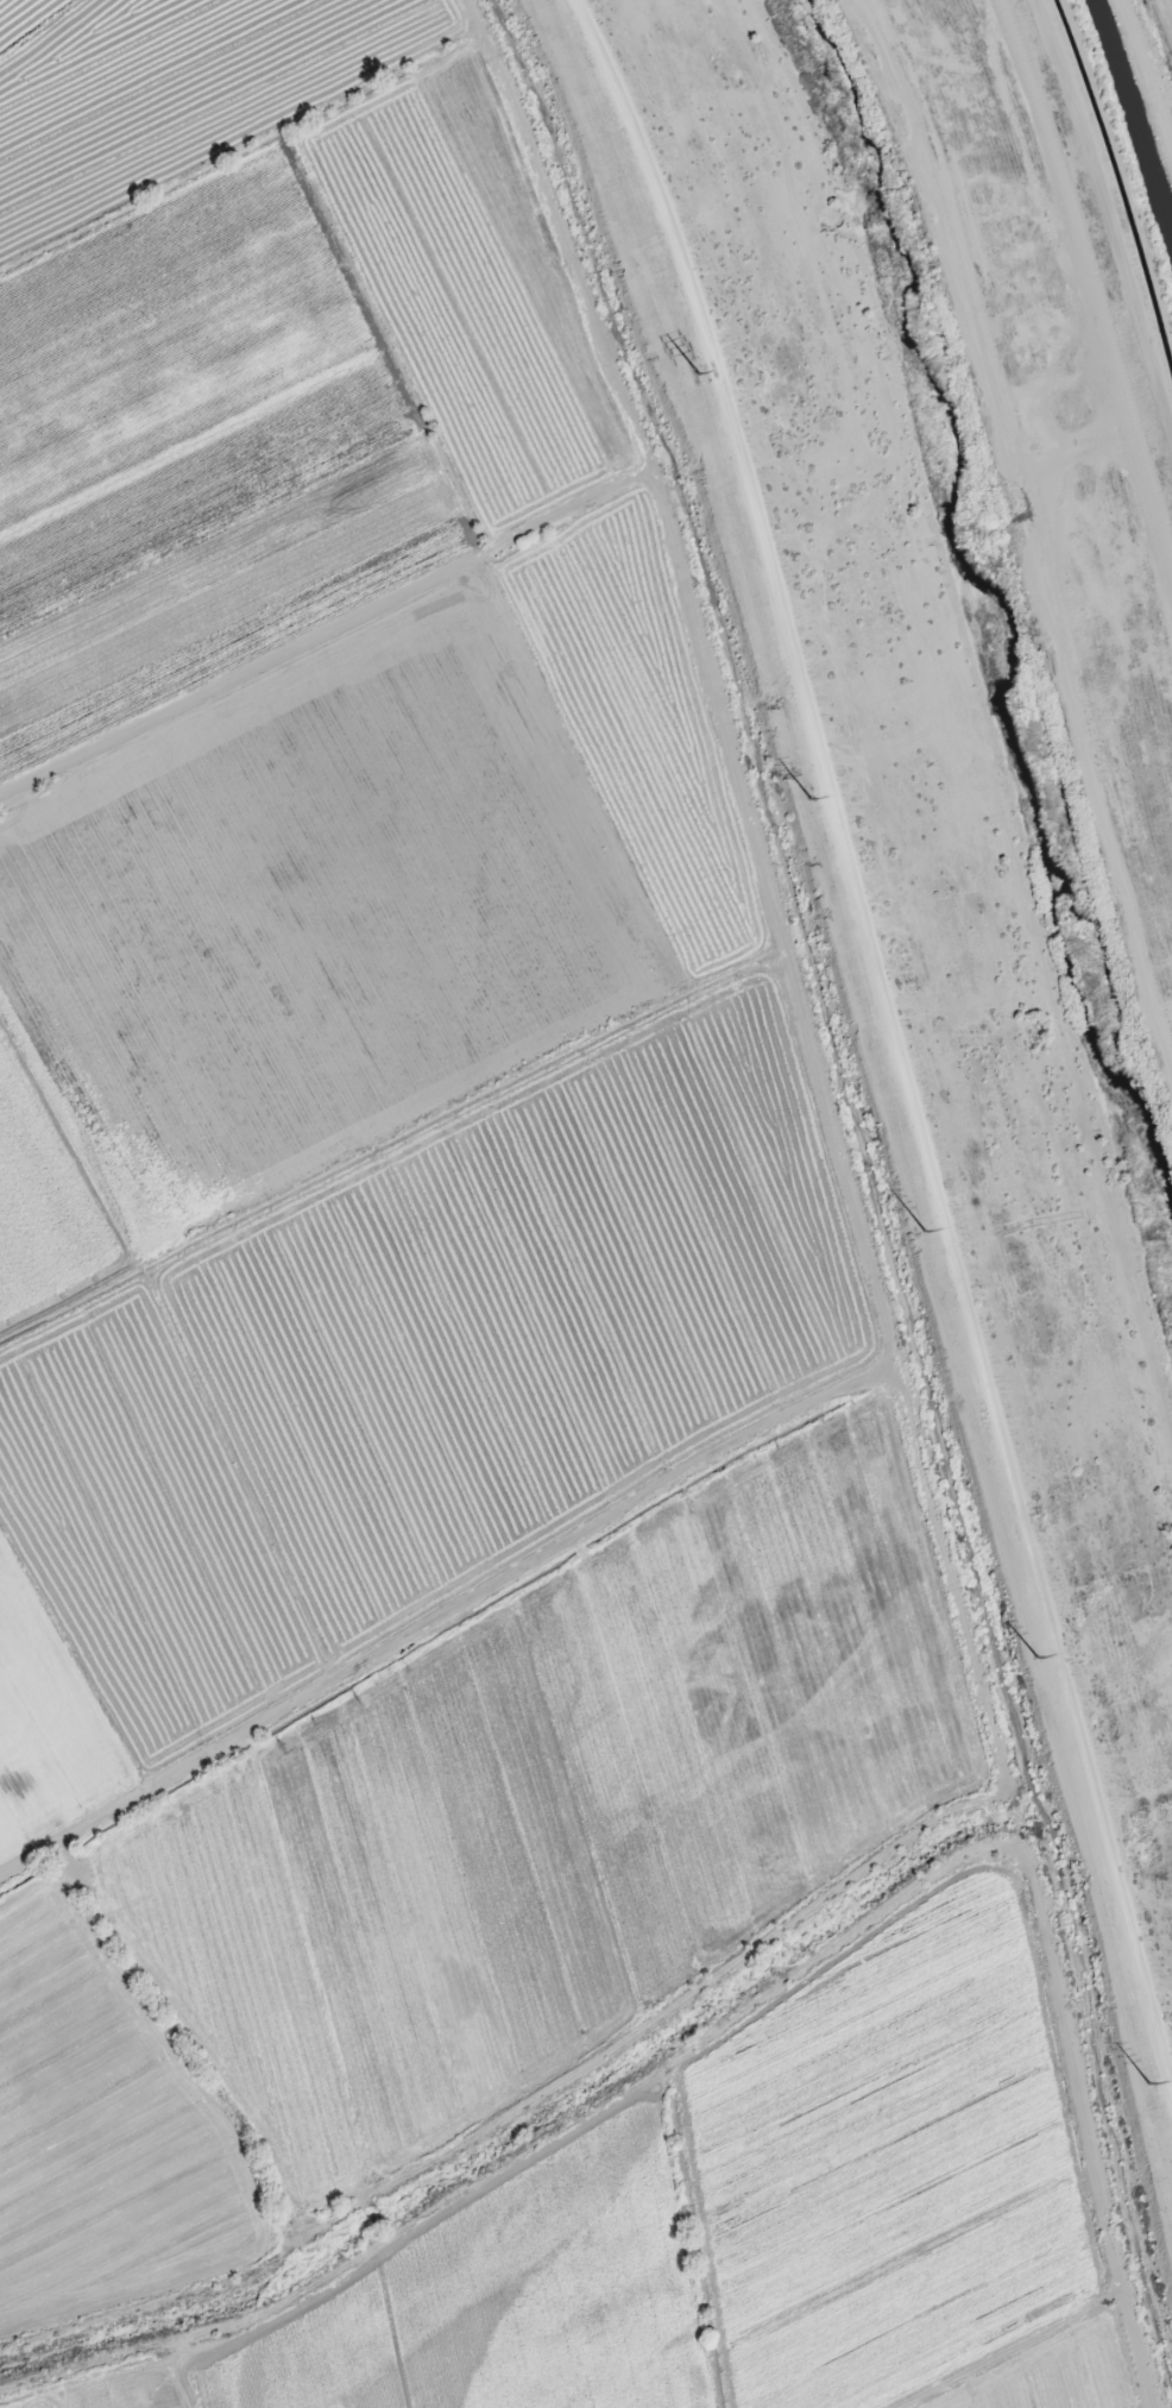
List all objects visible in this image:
river: (881, 180)
power tower: (695, 373)
river: (1047, 793)
power tower: (806, 803)
power tower: (918, 1232)
power tower: (1029, 1658)
power tower: (1140, 2081)

